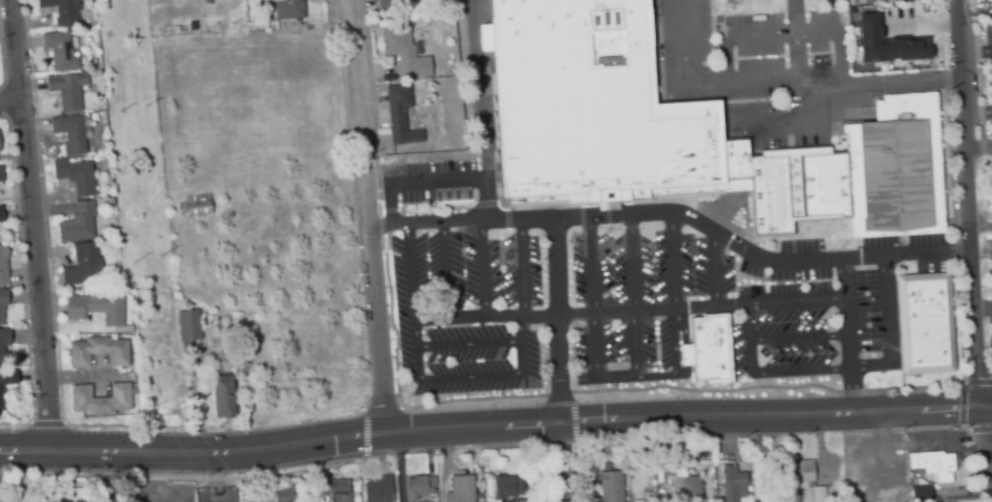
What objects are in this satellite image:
building: (862, 1)
building: (388, 2)
building: (850, 2)
building: (288, 9)
building: (61, 11)
road: (925, 28)
parking lot: (986, 37)
road: (795, 40)
building: (887, 42)
building: (59, 49)
building: (404, 54)
parking lot: (784, 70)
road: (780, 81)
building: (66, 89)
road: (8, 100)
power tower: (144, 105)
power tower: (118, 111)
road: (480, 111)
building: (399, 115)
road: (978, 118)
parking lot: (986, 122)
building: (679, 123)
building: (69, 133)
road: (979, 149)
building: (0, 175)
building: (75, 175)
road: (416, 184)
road: (969, 203)
building: (195, 205)
building: (1, 214)
road: (676, 214)
road: (367, 215)
building: (77, 222)
road: (31, 224)
road: (981, 226)
power tower: (160, 253)
power tower: (133, 258)
building: (3, 264)
building: (83, 265)
road: (714, 268)
road: (483, 270)
road: (446, 272)
building: (991, 274)
parking lot: (617, 290)
road: (521, 296)
road: (632, 296)
road: (798, 298)
road: (413, 302)
parking lot: (989, 302)
building: (2, 303)
building: (93, 307)
road: (582, 312)
road: (557, 321)
building: (925, 322)
building: (188, 327)
road: (849, 335)
road: (799, 337)
building: (3, 339)
road: (469, 344)
building: (708, 348)
building: (98, 351)
road: (839, 368)
building: (8, 376)
road: (471, 376)
road: (636, 377)
building: (0, 393)
building: (221, 396)
building: (101, 398)
road: (988, 405)
traffic signals: (984, 406)
power tower: (147, 410)
power tower: (171, 411)
road: (984, 419)
road: (491, 425)
road: (988, 431)
road: (561, 462)
building: (937, 465)
road: (400, 466)
road: (985, 467)
building: (800, 472)
road: (122, 476)
road: (153, 482)
building: (681, 483)
building: (733, 484)
power tower: (234, 487)
building: (611, 487)
building: (419, 488)
building: (506, 488)
building: (461, 489)
building: (377, 490)
building: (338, 491)
building: (287, 494)
building: (819, 494)
building: (922, 494)
power tower: (207, 499)

